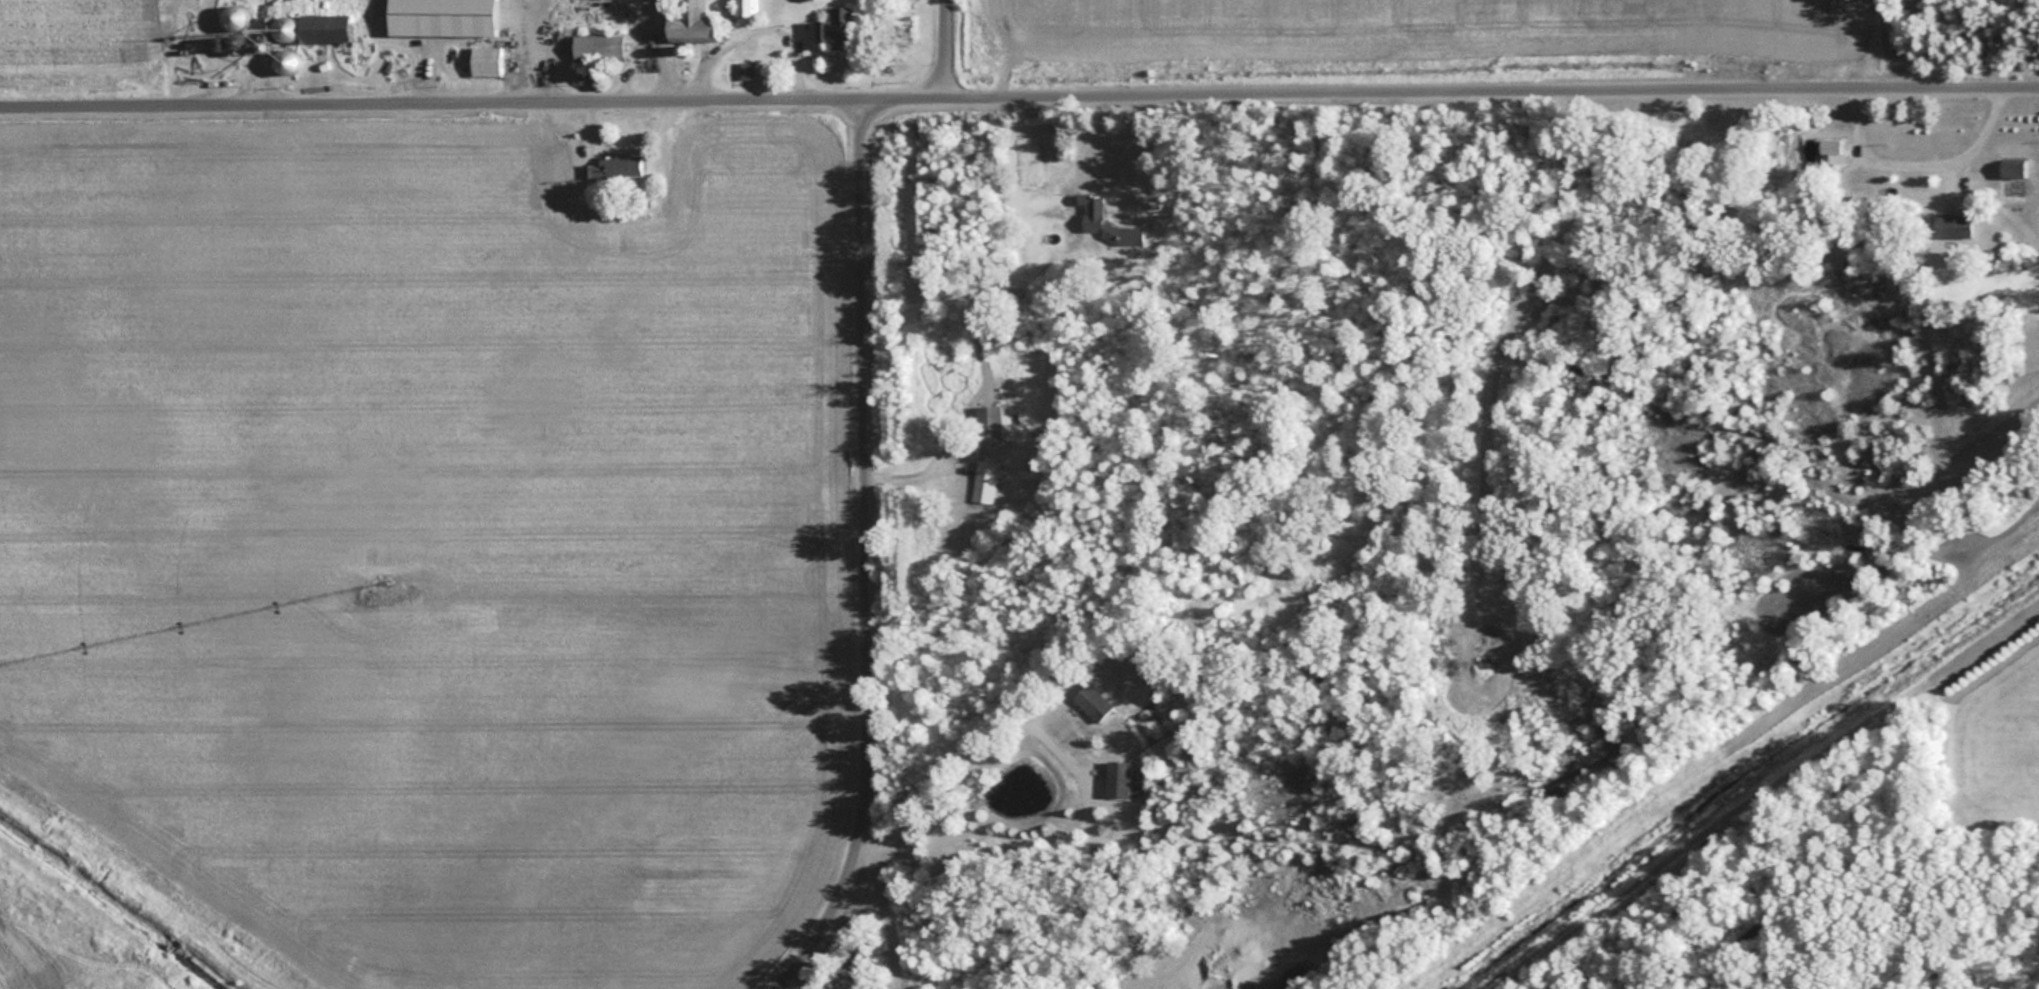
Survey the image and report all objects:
building: (747, 6)
building: (233, 14)
building: (694, 23)
building: (324, 27)
building: (836, 27)
building: (284, 28)
building: (234, 43)
road: (1903, 45)
building: (597, 47)
road: (951, 50)
building: (485, 60)
building: (285, 61)
building: (746, 69)
road: (1019, 100)
building: (1832, 151)
road: (1126, 157)
road: (1918, 163)
road: (1571, 164)
building: (613, 167)
building: (2012, 168)
building: (1093, 213)
building: (1952, 226)
building: (989, 425)
road: (915, 463)
building: (985, 481)
road: (865, 558)
building: (1093, 702)
road: (968, 765)
building: (1118, 778)
road: (897, 919)

